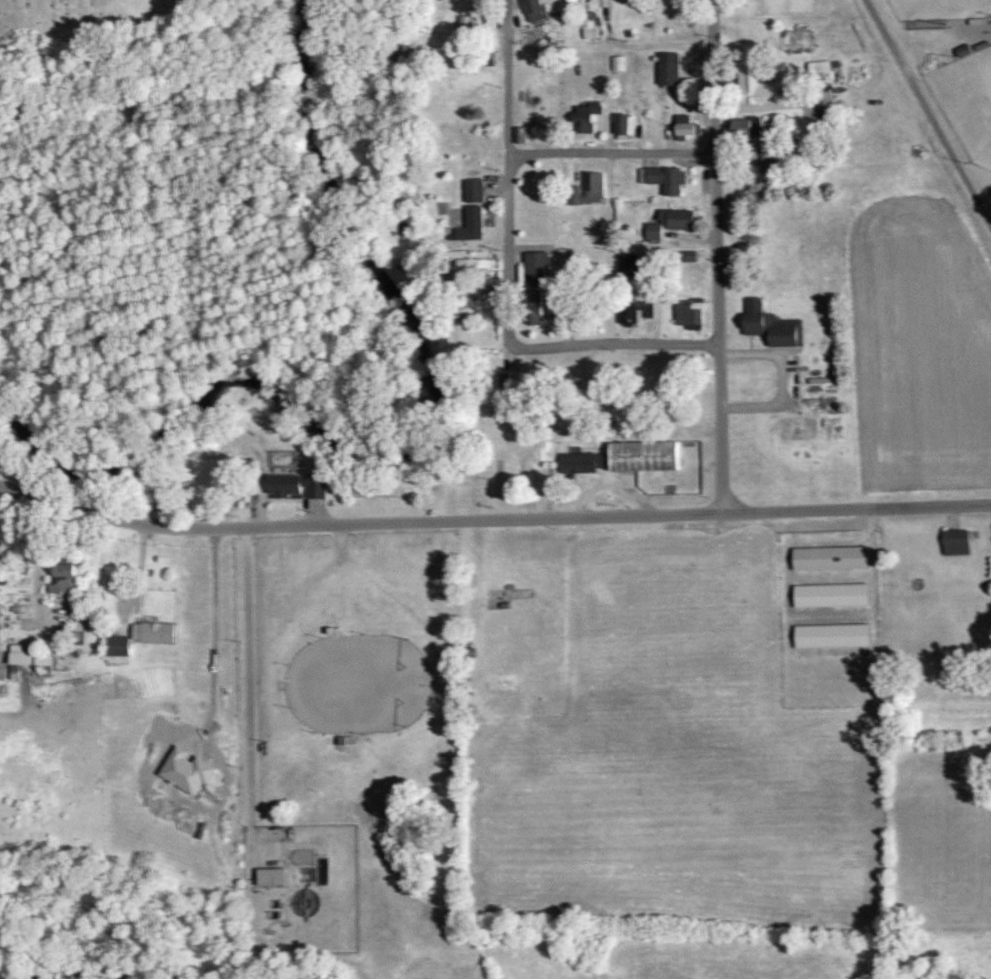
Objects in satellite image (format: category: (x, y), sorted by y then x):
park: (939, 9)
building: (533, 10)
park: (67, 27)
road: (973, 31)
building: (589, 32)
building: (616, 63)
building: (667, 69)
building: (818, 70)
park: (951, 70)
building: (750, 85)
park: (966, 101)
road: (927, 113)
building: (585, 117)
building: (623, 126)
building: (684, 126)
building: (743, 127)
building: (517, 134)
road: (610, 153)
road: (508, 170)
building: (665, 179)
building: (586, 189)
building: (472, 190)
building: (676, 218)
building: (469, 224)
building: (652, 231)
building: (685, 256)
road: (716, 257)
building: (474, 263)
building: (627, 266)
building: (534, 270)
building: (532, 308)
building: (633, 311)
building: (687, 312)
building: (769, 325)
road: (612, 348)
building: (641, 456)
building: (581, 463)
building: (294, 485)
road: (706, 514)
road: (207, 528)
building: (954, 542)
building: (828, 557)
road: (830, 576)
building: (62, 578)
building: (830, 595)
road: (832, 616)
building: (151, 632)
building: (831, 635)
building: (115, 645)
road: (806, 652)
building: (17, 659)
building: (41, 659)
road: (247, 689)
building: (269, 876)

